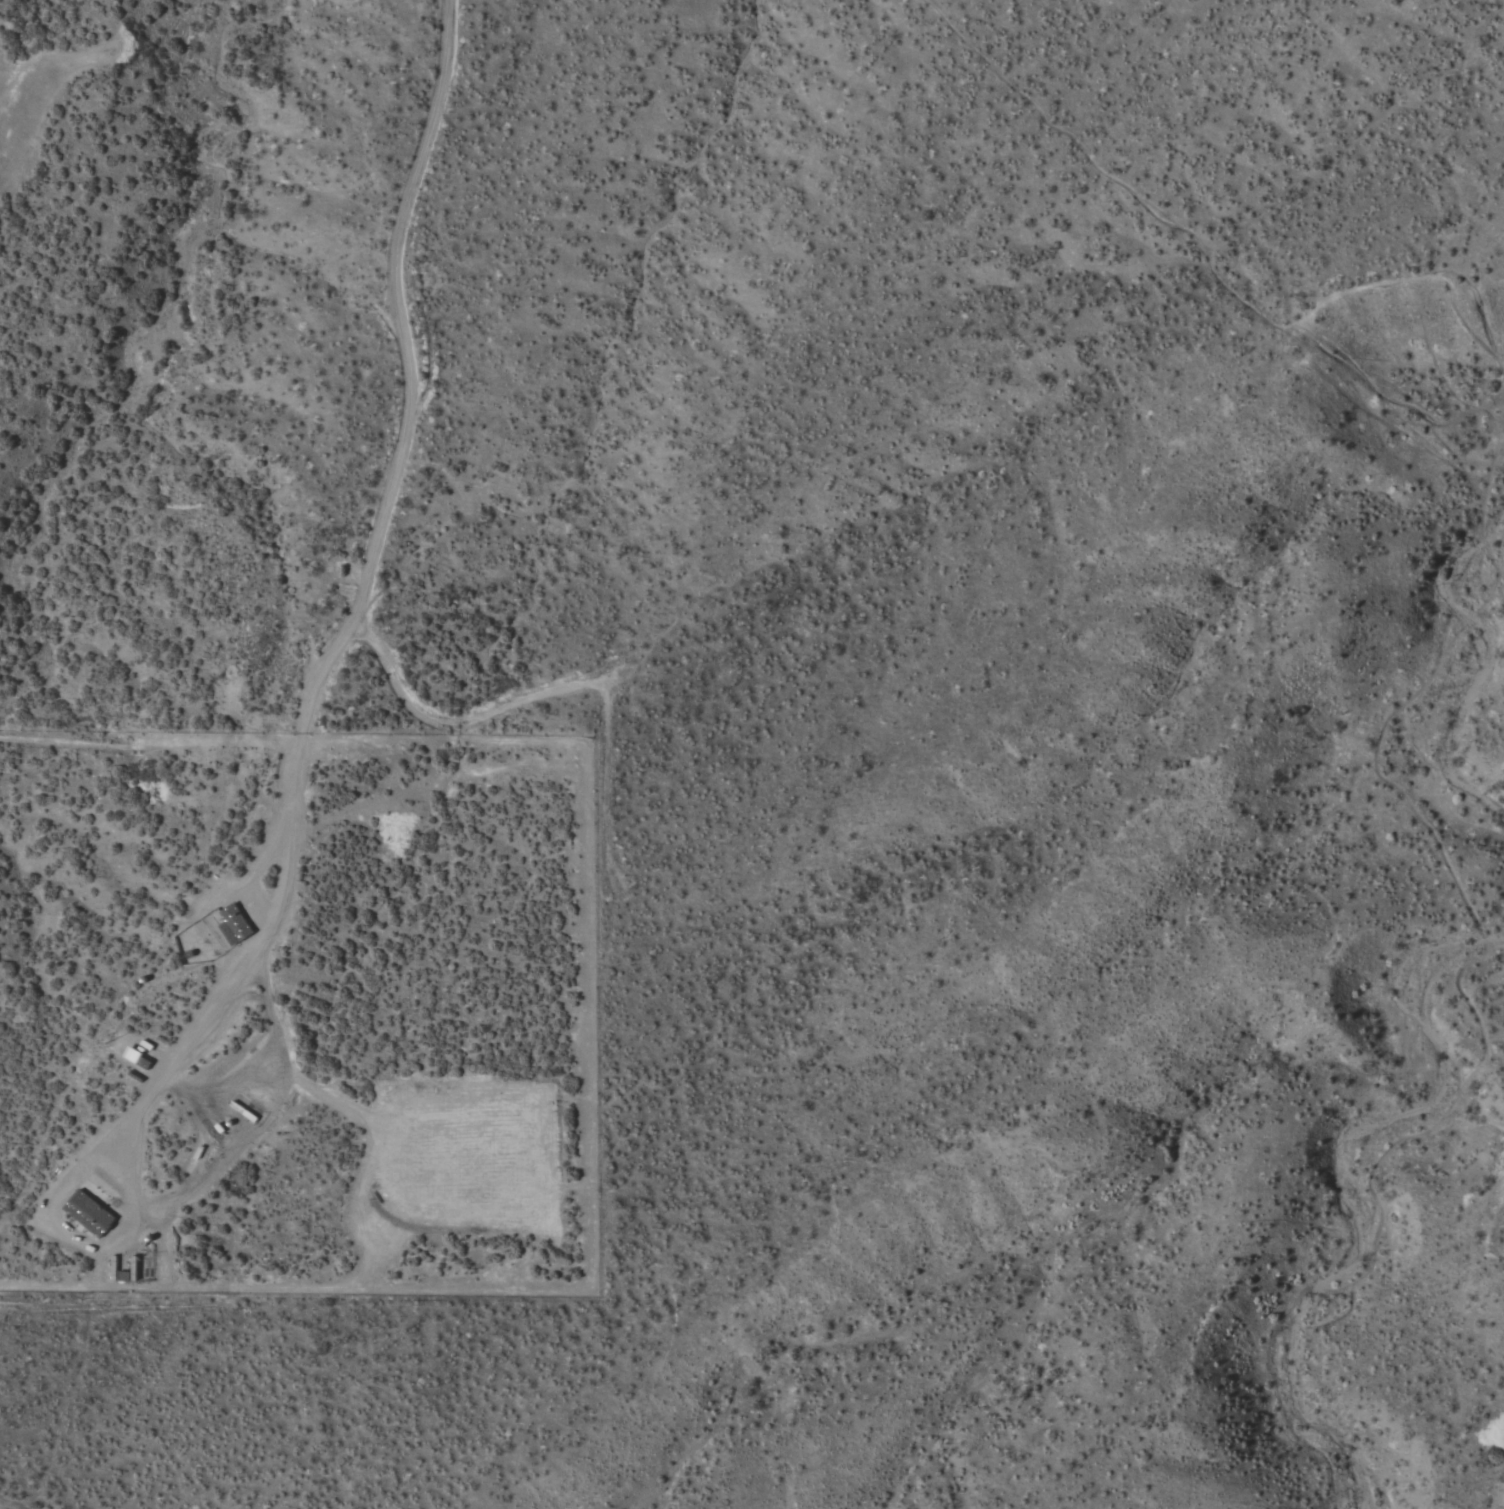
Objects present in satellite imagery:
road: (406, 375)
building: (232, 925)
road: (153, 1074)
building: (87, 1212)

